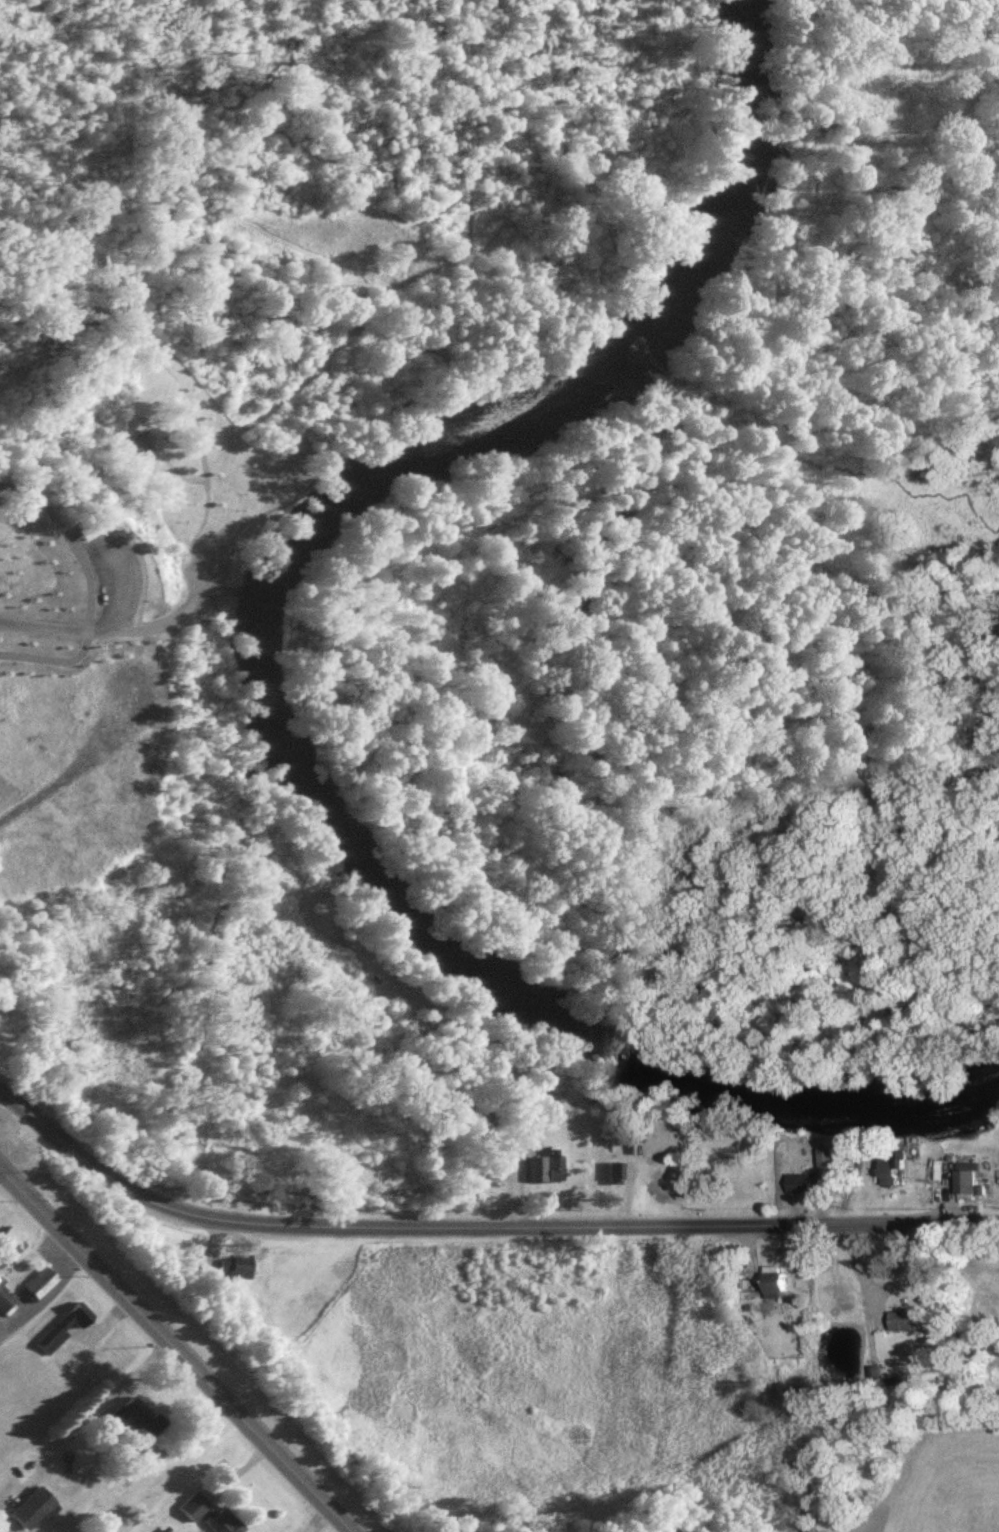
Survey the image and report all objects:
road: (455, 303)
road: (408, 346)
road: (308, 377)
road: (177, 383)
road: (342, 391)
road: (351, 424)
building: (139, 439)
building: (144, 446)
road: (170, 468)
building: (87, 527)
road: (229, 543)
parking lot: (111, 570)
road: (86, 593)
road: (136, 598)
road: (111, 631)
river: (256, 685)
building: (893, 1165)
building: (551, 1170)
building: (824, 1173)
building: (608, 1177)
building: (963, 1187)
building: (797, 1188)
road: (480, 1232)
building: (10, 1251)
building: (236, 1272)
building: (770, 1285)
building: (0, 1288)
building: (36, 1291)
road: (45, 1303)
building: (4, 1305)
building: (74, 1319)
building: (901, 1326)
building: (49, 1344)
road: (173, 1352)
road: (89, 1410)
building: (130, 1420)
building: (28, 1512)
building: (203, 1517)
road: (316, 1521)

